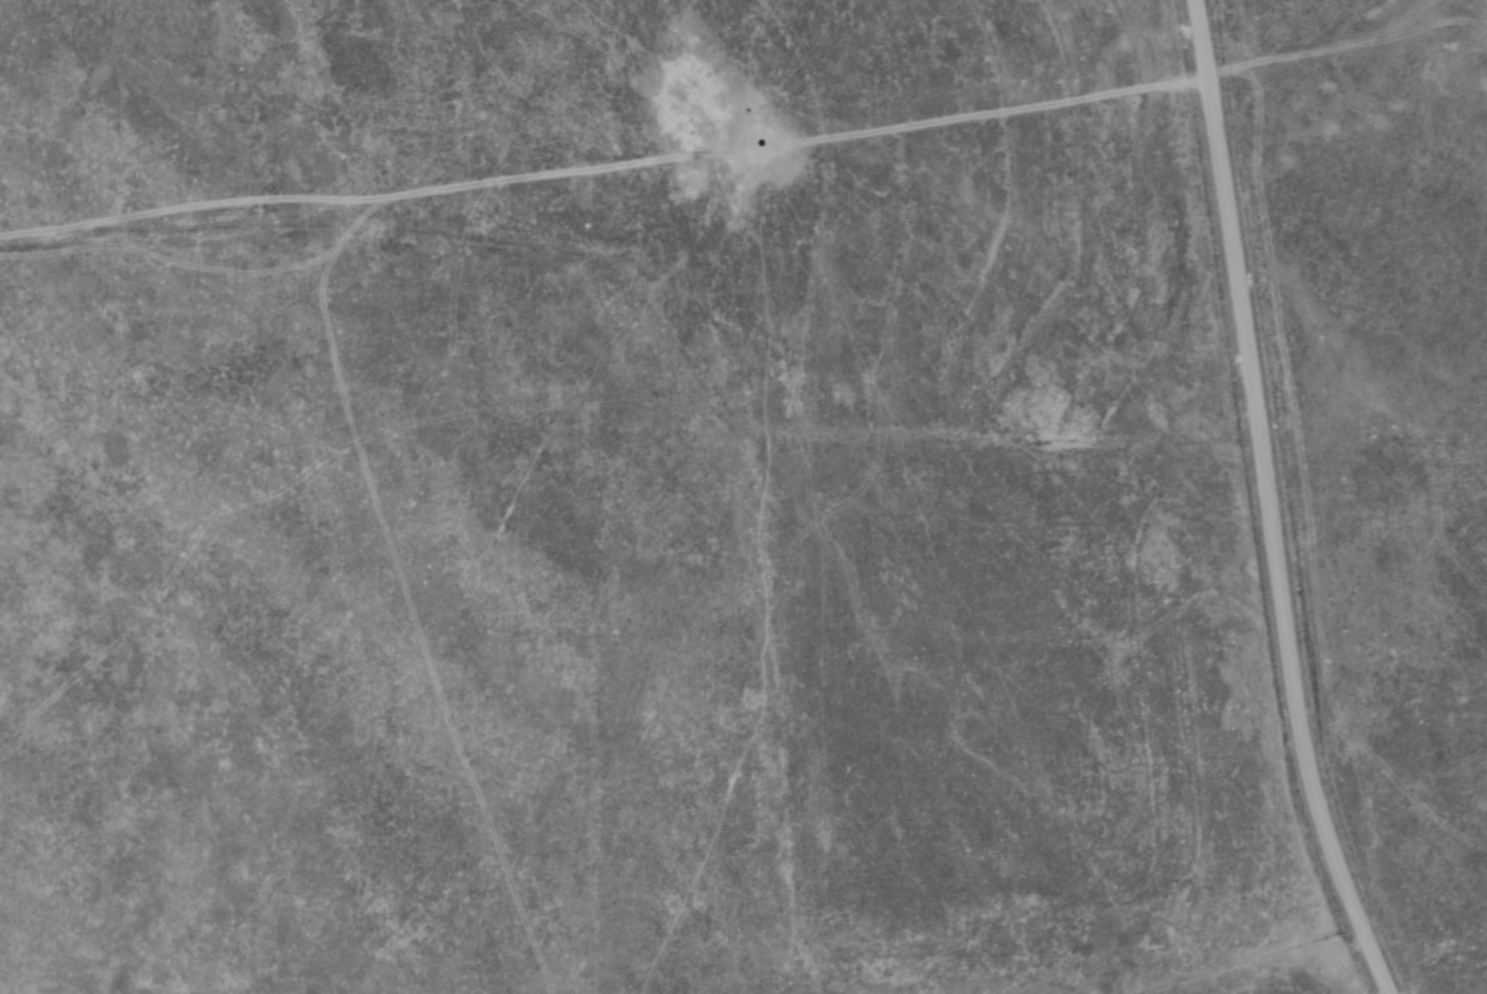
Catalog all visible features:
road: (1272, 503)

